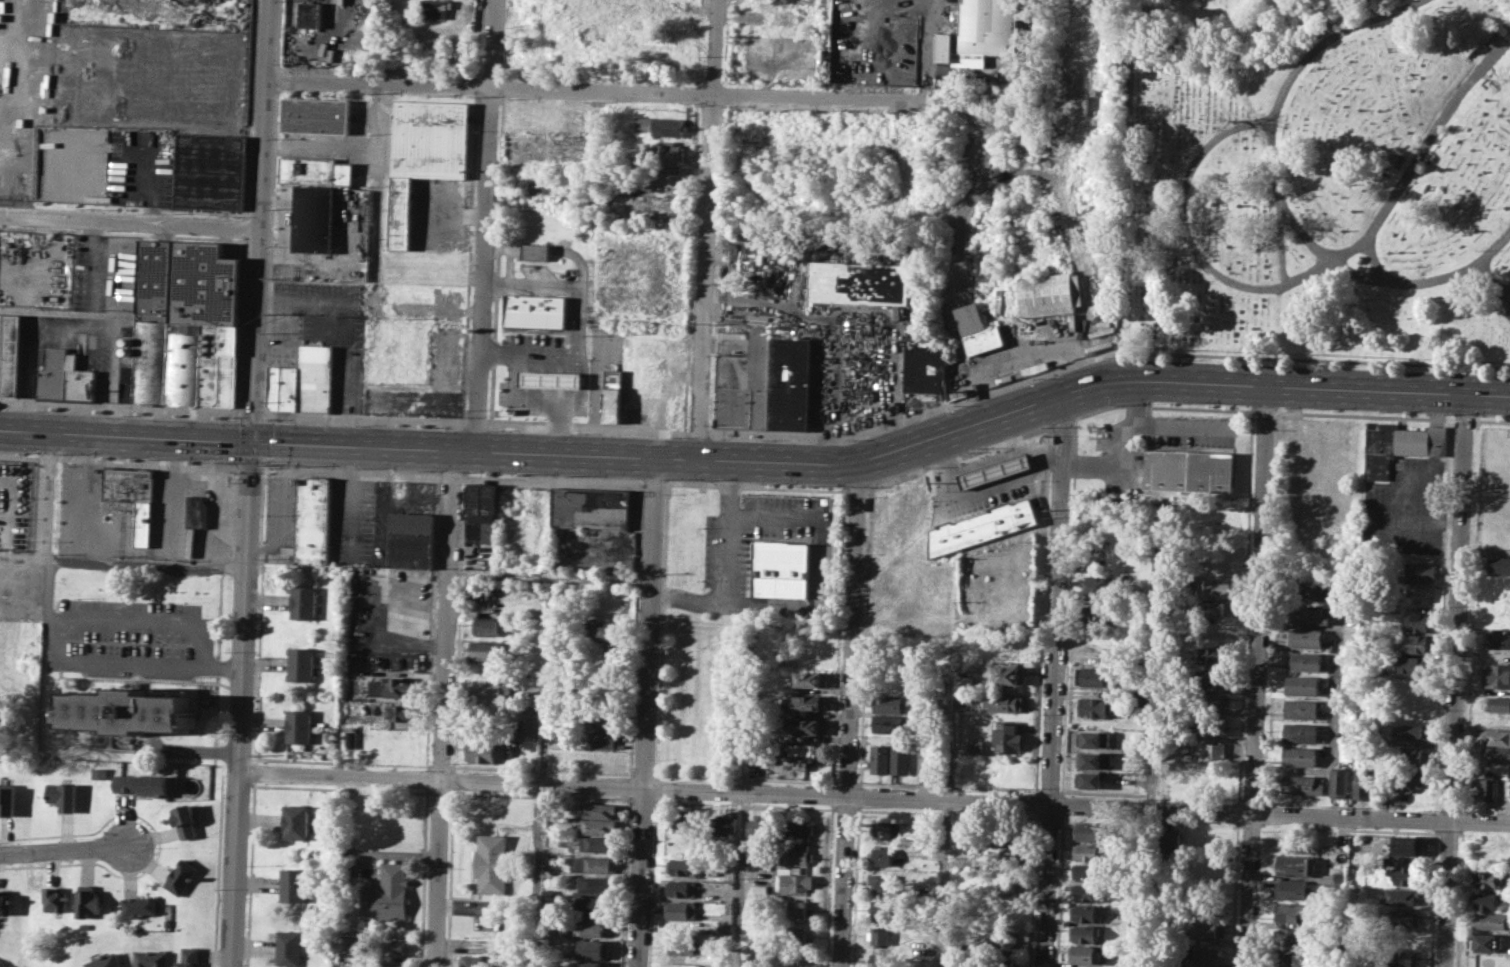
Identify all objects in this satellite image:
building: (436, 8)
road: (1353, 12)
building: (316, 14)
building: (979, 33)
road: (929, 64)
road: (598, 96)
building: (316, 115)
building: (661, 125)
building: (426, 152)
building: (671, 152)
parking lot: (140, 167)
building: (208, 170)
building: (316, 170)
park: (1318, 183)
road: (153, 188)
road: (1281, 198)
parking lot: (439, 212)
road: (451, 213)
building: (316, 219)
road: (482, 222)
road: (129, 227)
road: (710, 227)
road: (1281, 237)
road: (502, 248)
building: (536, 251)
road: (578, 255)
road: (1372, 255)
road: (511, 265)
road: (1306, 271)
building: (189, 281)
building: (860, 282)
road: (1492, 287)
building: (3, 294)
building: (1046, 294)
road: (1086, 297)
building: (1000, 301)
parking lot: (96, 310)
road: (1509, 310)
building: (536, 311)
parking lot: (826, 316)
road: (71, 318)
road: (580, 318)
road: (113, 319)
road: (350, 327)
building: (976, 328)
parking lot: (325, 332)
parking lot: (535, 341)
building: (9, 353)
building: (146, 359)
building: (202, 363)
building: (925, 364)
road: (1003, 364)
building: (51, 373)
building: (316, 377)
building: (551, 379)
gas station: (551, 379)
building: (77, 380)
building: (790, 384)
building: (746, 385)
building: (275, 387)
building: (290, 388)
building: (614, 393)
road: (547, 398)
road: (1162, 406)
road: (1265, 411)
road: (1364, 415)
road: (1463, 419)
road: (1491, 420)
road: (559, 423)
road: (1061, 423)
traffic signals: (251, 439)
road: (1122, 443)
building: (1401, 446)
road: (18, 456)
road: (46, 457)
road: (761, 457)
road: (958, 457)
road: (146, 461)
road: (249, 467)
building: (993, 470)
road: (351, 471)
parking lot: (1019, 471)
building: (1189, 471)
road: (451, 475)
building: (974, 476)
road: (552, 478)
road: (654, 482)
road: (249, 483)
road: (209, 486)
road: (755, 487)
road: (856, 489)
road: (77, 495)
building: (132, 499)
road: (169, 499)
parking lot: (1406, 508)
building: (481, 512)
building: (594, 512)
road: (43, 515)
road: (776, 519)
road: (1414, 519)
building: (194, 521)
building: (313, 521)
building: (981, 526)
parking lot: (757, 535)
building: (411, 539)
road: (21, 559)
building: (907, 560)
road: (726, 563)
road: (144, 564)
building: (1499, 564)
building: (781, 569)
building: (1420, 572)
building: (1096, 587)
building: (1212, 588)
building: (1308, 590)
building: (304, 603)
building: (1214, 608)
building: (1307, 615)
road: (1469, 615)
road: (142, 617)
road: (259, 617)
building: (1420, 621)
road: (459, 623)
building: (487, 627)
road: (636, 629)
building: (607, 631)
road: (661, 631)
building: (1305, 638)
building: (1498, 639)
building: (1007, 641)
building: (1418, 644)
building: (488, 651)
road: (123, 657)
building: (1304, 662)
building: (301, 664)
building: (1415, 665)
road: (1255, 674)
building: (1008, 675)
building: (1095, 675)
building: (1497, 675)
building: (1210, 677)
building: (810, 679)
road: (1053, 679)
road: (1454, 679)
building: (965, 681)
building: (1302, 686)
building: (392, 690)
building: (488, 691)
building: (965, 697)
building: (1211, 700)
building: (805, 702)
building: (1005, 702)
building: (888, 703)
building: (1499, 704)
road: (443, 706)
building: (1094, 706)
building: (1302, 708)
road: (646, 709)
building: (125, 712)
building: (404, 713)
road: (850, 714)
building: (604, 718)
building: (1497, 720)
building: (531, 722)
building: (887, 723)
building: (1210, 725)
building: (299, 726)
building: (808, 726)
road: (1331, 729)
building: (1412, 731)
building: (1300, 733)
building: (350, 736)
building: (1007, 736)
building: (1496, 737)
building: (1090, 738)
building: (603, 740)
building: (398, 742)
road: (200, 745)
building: (976, 746)
building: (1214, 748)
building: (805, 750)
building: (484, 751)
building: (1496, 754)
building: (1415, 755)
building: (1299, 756)
building: (901, 757)
building: (880, 758)
building: (927, 760)
building: (1090, 760)
building: (803, 767)
road: (541, 768)
building: (98, 770)
road: (254, 771)
road: (453, 779)
building: (1408, 779)
building: (1088, 780)
building: (1339, 782)
building: (1362, 782)
building: (142, 784)
building: (1489, 784)
building: (1300, 785)
road: (630, 786)
road: (656, 788)
building: (62, 795)
road: (874, 798)
building: (7, 800)
road: (1436, 807)
road: (1449, 808)
building: (599, 809)
building: (185, 819)
road: (1435, 819)
building: (295, 822)
building: (685, 824)
building: (721, 825)
building: (597, 826)
building: (760, 828)
building: (798, 828)
building: (887, 830)
building: (1088, 830)
building: (1012, 833)
building: (1168, 838)
building: (924, 841)
building: (596, 844)
building: (1407, 845)
road: (64, 849)
building: (1087, 851)
building: (798, 855)
building: (886, 857)
building: (492, 864)
building: (593, 864)
building: (1296, 865)
building: (685, 868)
building: (1088, 872)
road: (250, 873)
building: (181, 875)
building: (1407, 875)
road: (448, 877)
building: (1339, 878)
building: (1490, 879)
road: (742, 880)
road: (626, 881)
road: (651, 882)
building: (793, 882)
building: (885, 884)
road: (943, 884)
building: (293, 885)
building: (592, 885)
building: (1006, 887)
building: (686, 888)
building: (760, 888)
building: (1293, 888)
building: (386, 893)
building: (1087, 893)
building: (1406, 896)
road: (1432, 898)
building: (55, 899)
building: (1488, 900)
building: (88, 901)
building: (5, 903)
building: (138, 905)
building: (592, 906)
building: (797, 908)
building: (683, 909)
building: (884, 909)
building: (1085, 913)
building: (1291, 913)
building: (1406, 918)
building: (1491, 921)
building: (590, 926)
building: (1206, 929)
building: (1085, 933)
building: (796, 934)
building: (881, 936)
building: (1290, 937)
building: (1001, 940)
building: (1487, 942)
building: (682, 944)
building: (396, 946)
building: (591, 947)
building: (288, 948)
building: (1084, 953)
building: (1207, 955)
building: (189, 956)
building: (152, 958)
building: (877, 959)
building: (1402, 959)
building: (106, 960)
building: (1289, 960)
building: (476, 961)
building: (590, 963)
building: (389, 966)
building: (1079, 966)

